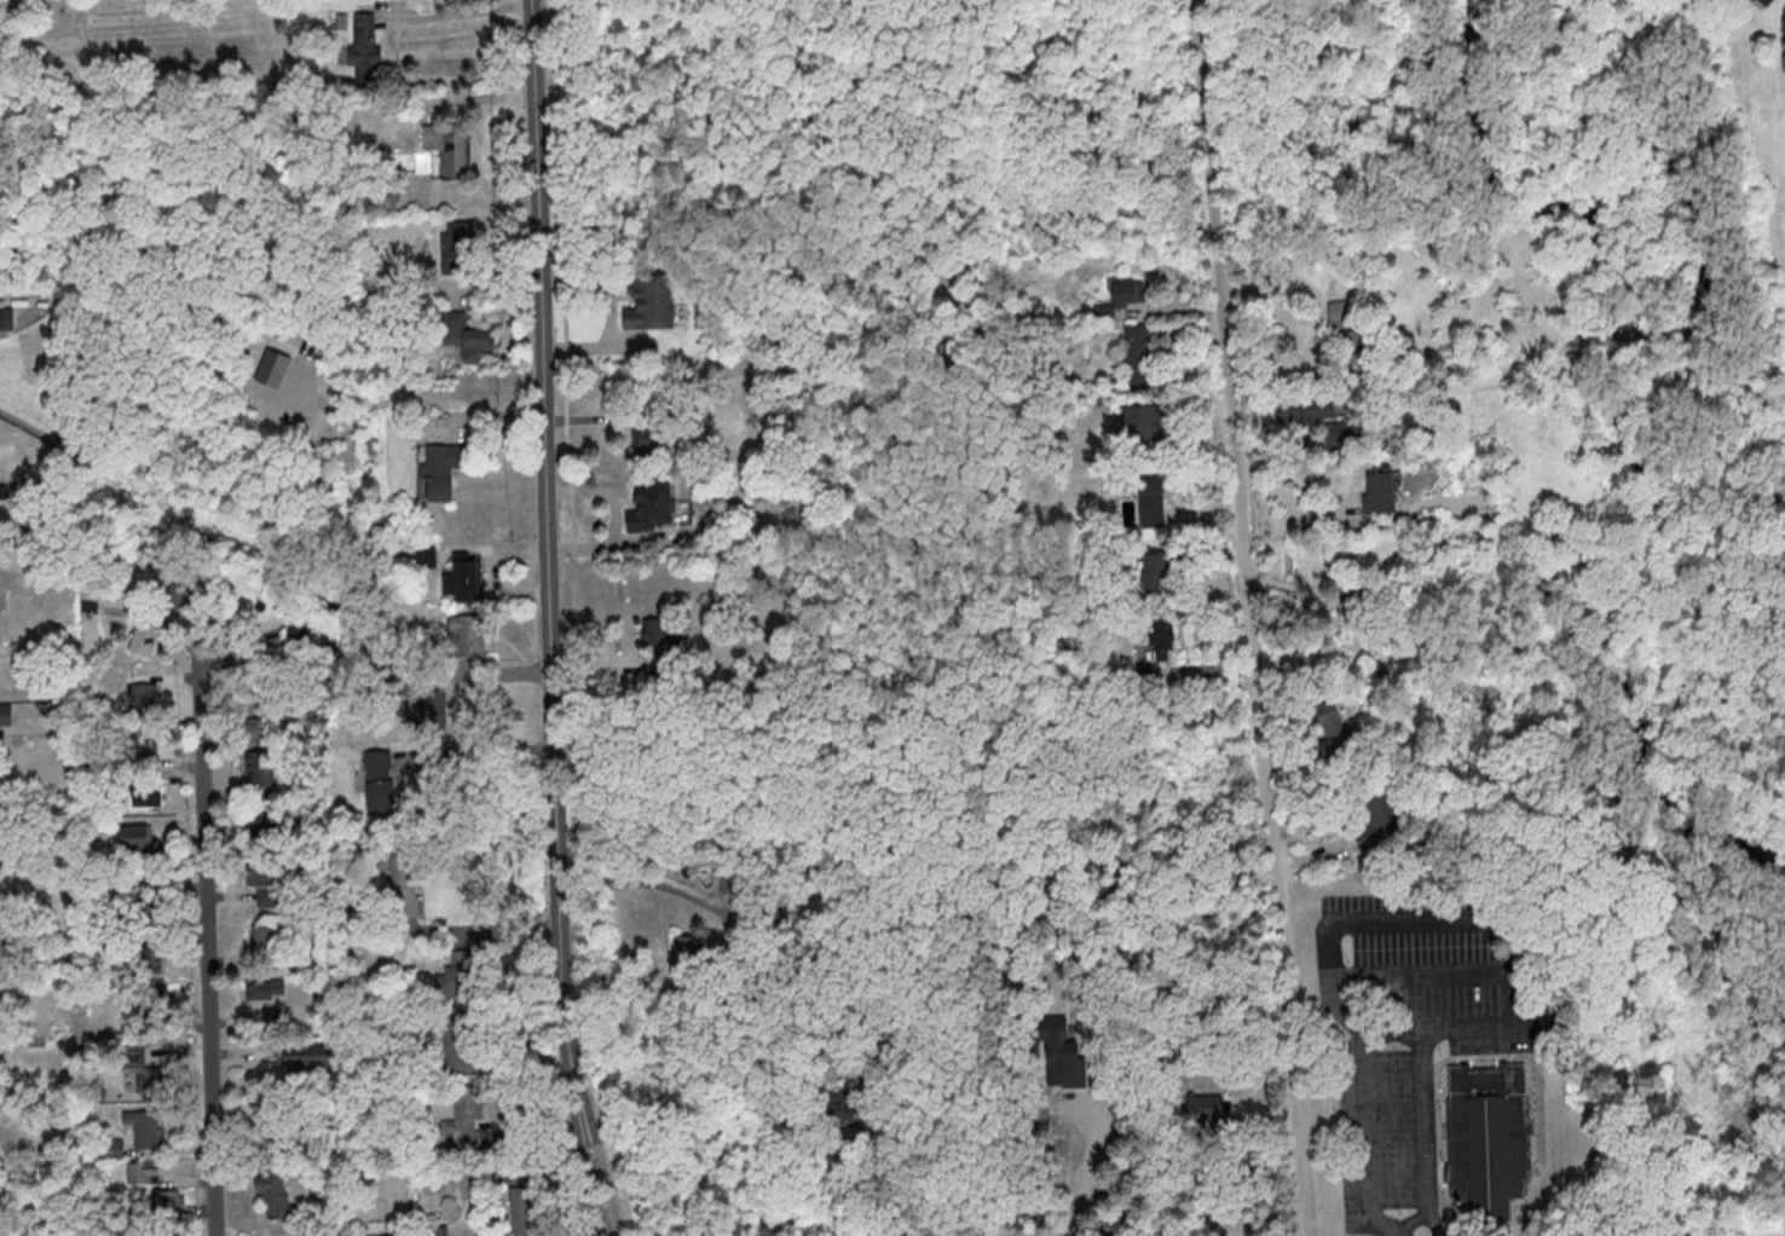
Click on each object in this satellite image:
building: (1768, 1)
road: (458, 15)
building: (362, 46)
building: (447, 146)
building: (457, 247)
building: (1120, 298)
building: (651, 301)
building: (1, 319)
building: (1346, 334)
building: (468, 337)
building: (1137, 354)
building: (277, 358)
building: (1310, 409)
building: (1139, 422)
river: (1624, 429)
building: (657, 444)
building: (440, 468)
building: (1379, 493)
building: (1151, 498)
building: (652, 507)
building: (424, 554)
building: (1156, 571)
road: (551, 572)
building: (467, 577)
road: (1249, 618)
building: (659, 631)
building: (468, 633)
building: (144, 637)
building: (299, 637)
building: (1161, 639)
building: (144, 694)
building: (266, 700)
building: (432, 709)
building: (5, 714)
building: (1338, 726)
building: (141, 743)
road: (483, 749)
building: (261, 775)
building: (382, 780)
building: (146, 795)
building: (265, 821)
building: (134, 836)
building: (261, 872)
building: (405, 883)
building: (148, 907)
road: (1369, 918)
road: (487, 930)
building: (260, 935)
road: (208, 940)
building: (782, 952)
building: (686, 954)
building: (150, 959)
building: (457, 977)
building: (264, 989)
building: (152, 997)
building: (155, 1030)
building: (461, 1046)
building: (302, 1057)
road: (1203, 1062)
building: (144, 1070)
road: (1247, 1092)
building: (843, 1103)
building: (1208, 1108)
building: (464, 1119)
road: (1427, 1125)
building: (282, 1126)
building: (145, 1127)
building: (1489, 1139)
building: (143, 1171)
road: (886, 1183)
road: (601, 1190)
building: (275, 1194)
building: (169, 1200)
building: (526, 1211)
road: (1402, 1228)
road: (1433, 1228)
building: (439, 1231)
building: (374, 1235)

